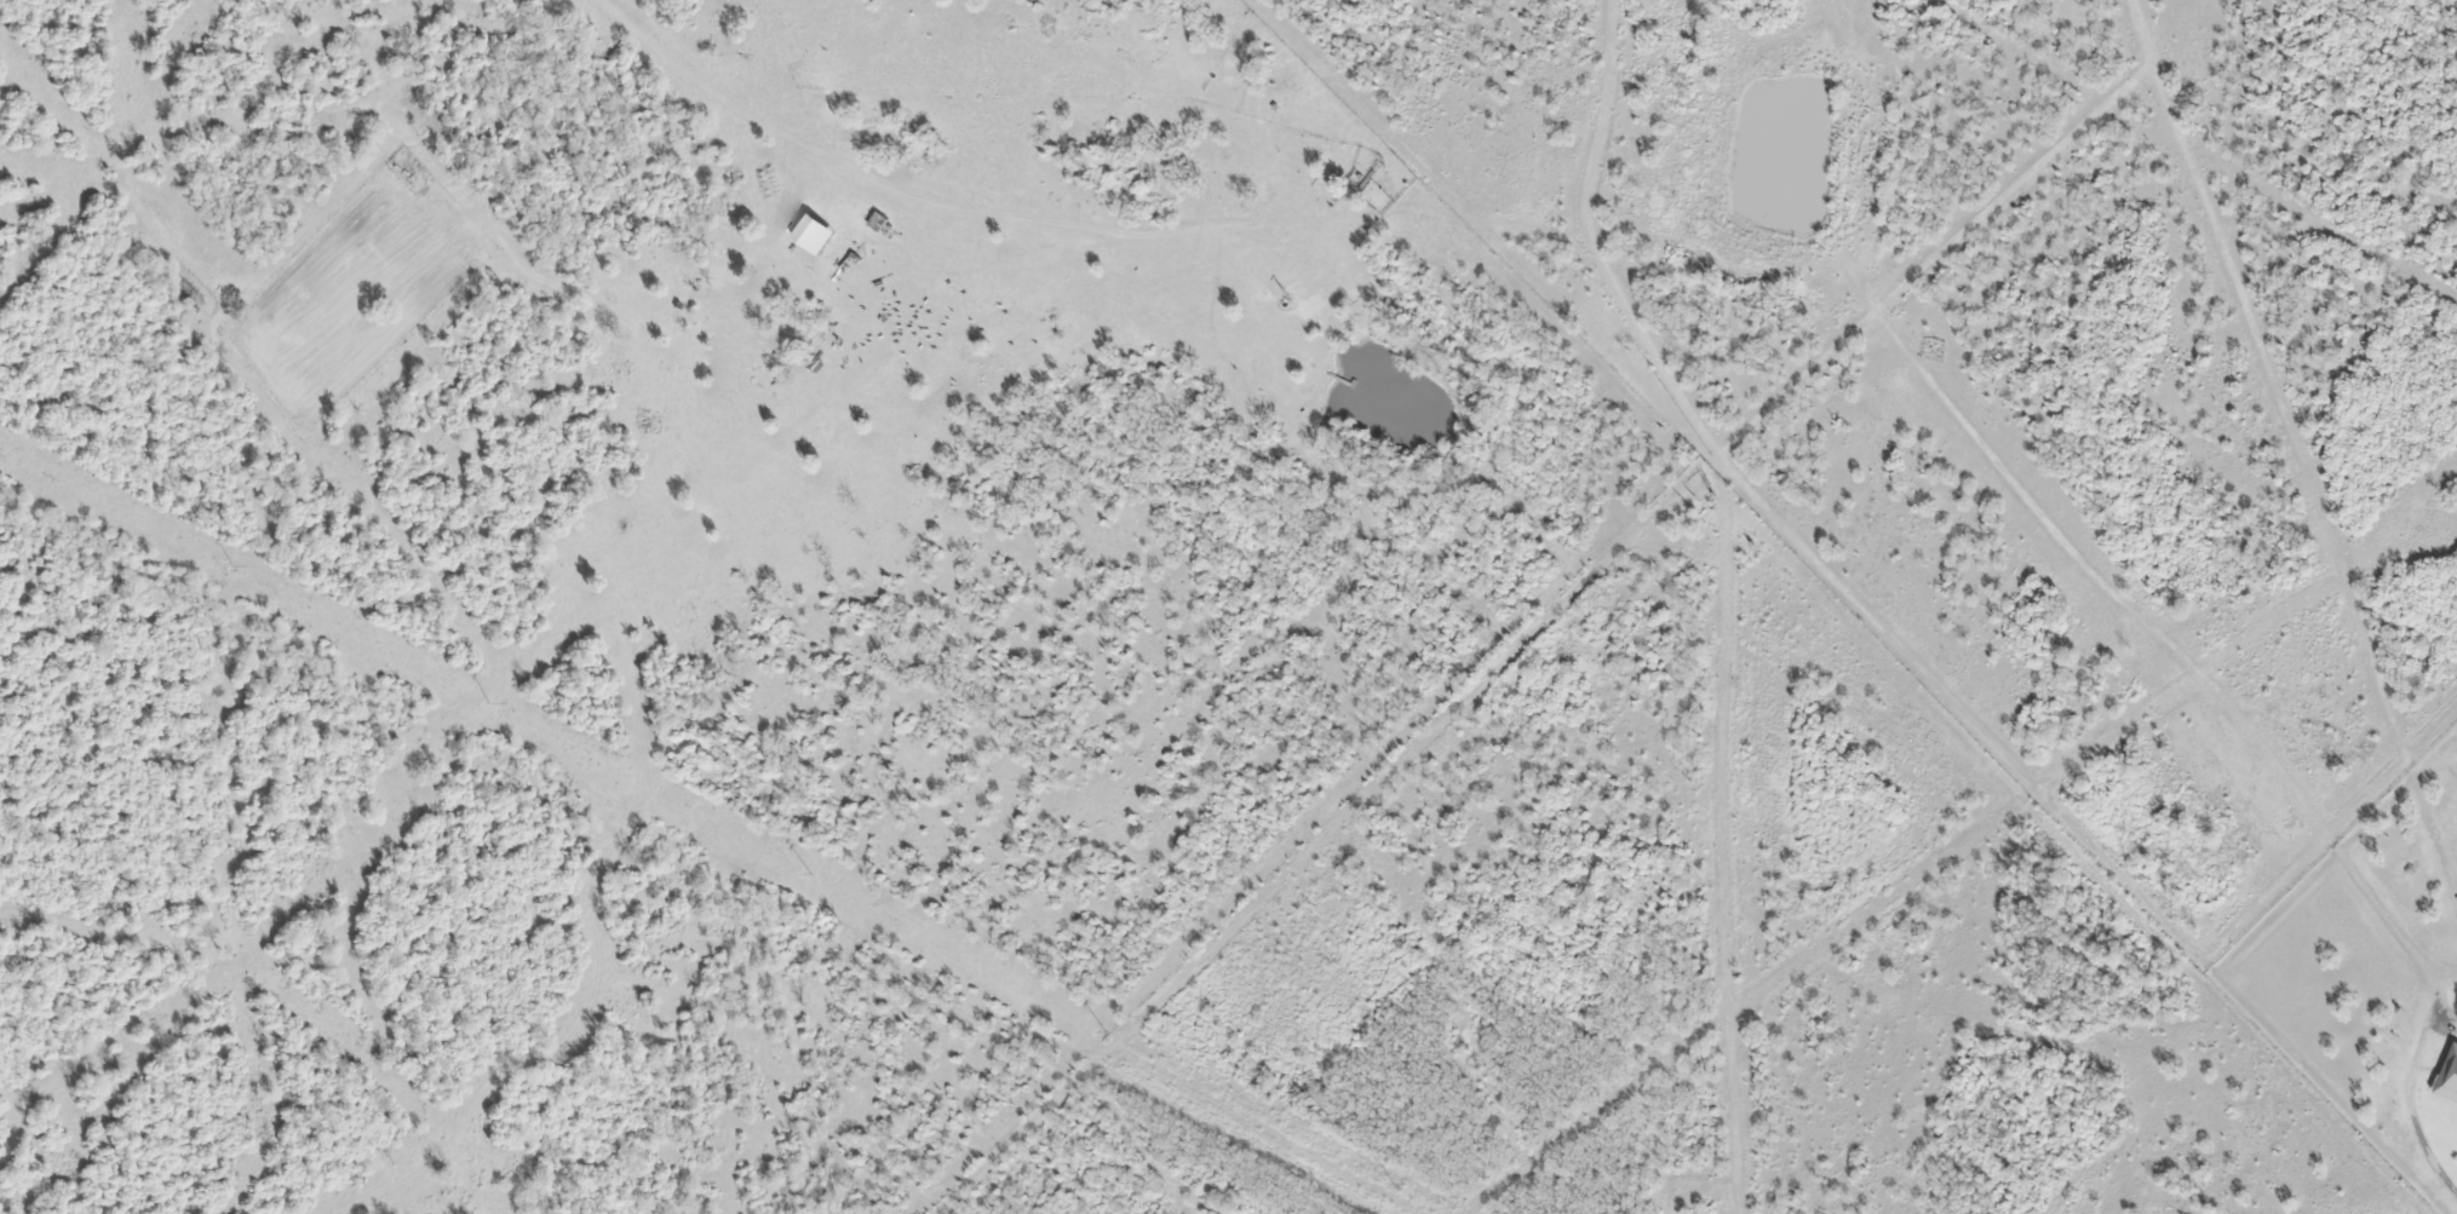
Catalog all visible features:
building: (814, 229)
building: (846, 263)
building: (2445, 1071)
road: (2417, 1134)

